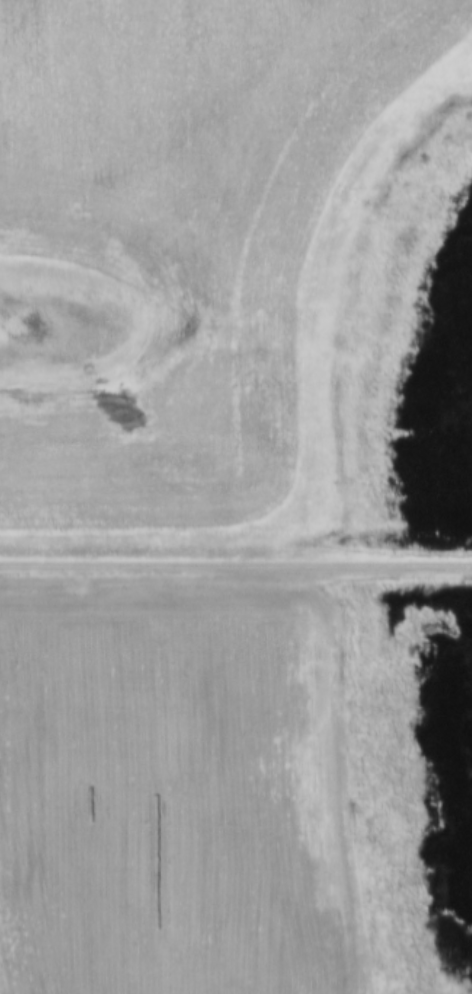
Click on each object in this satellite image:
road: (236, 566)

